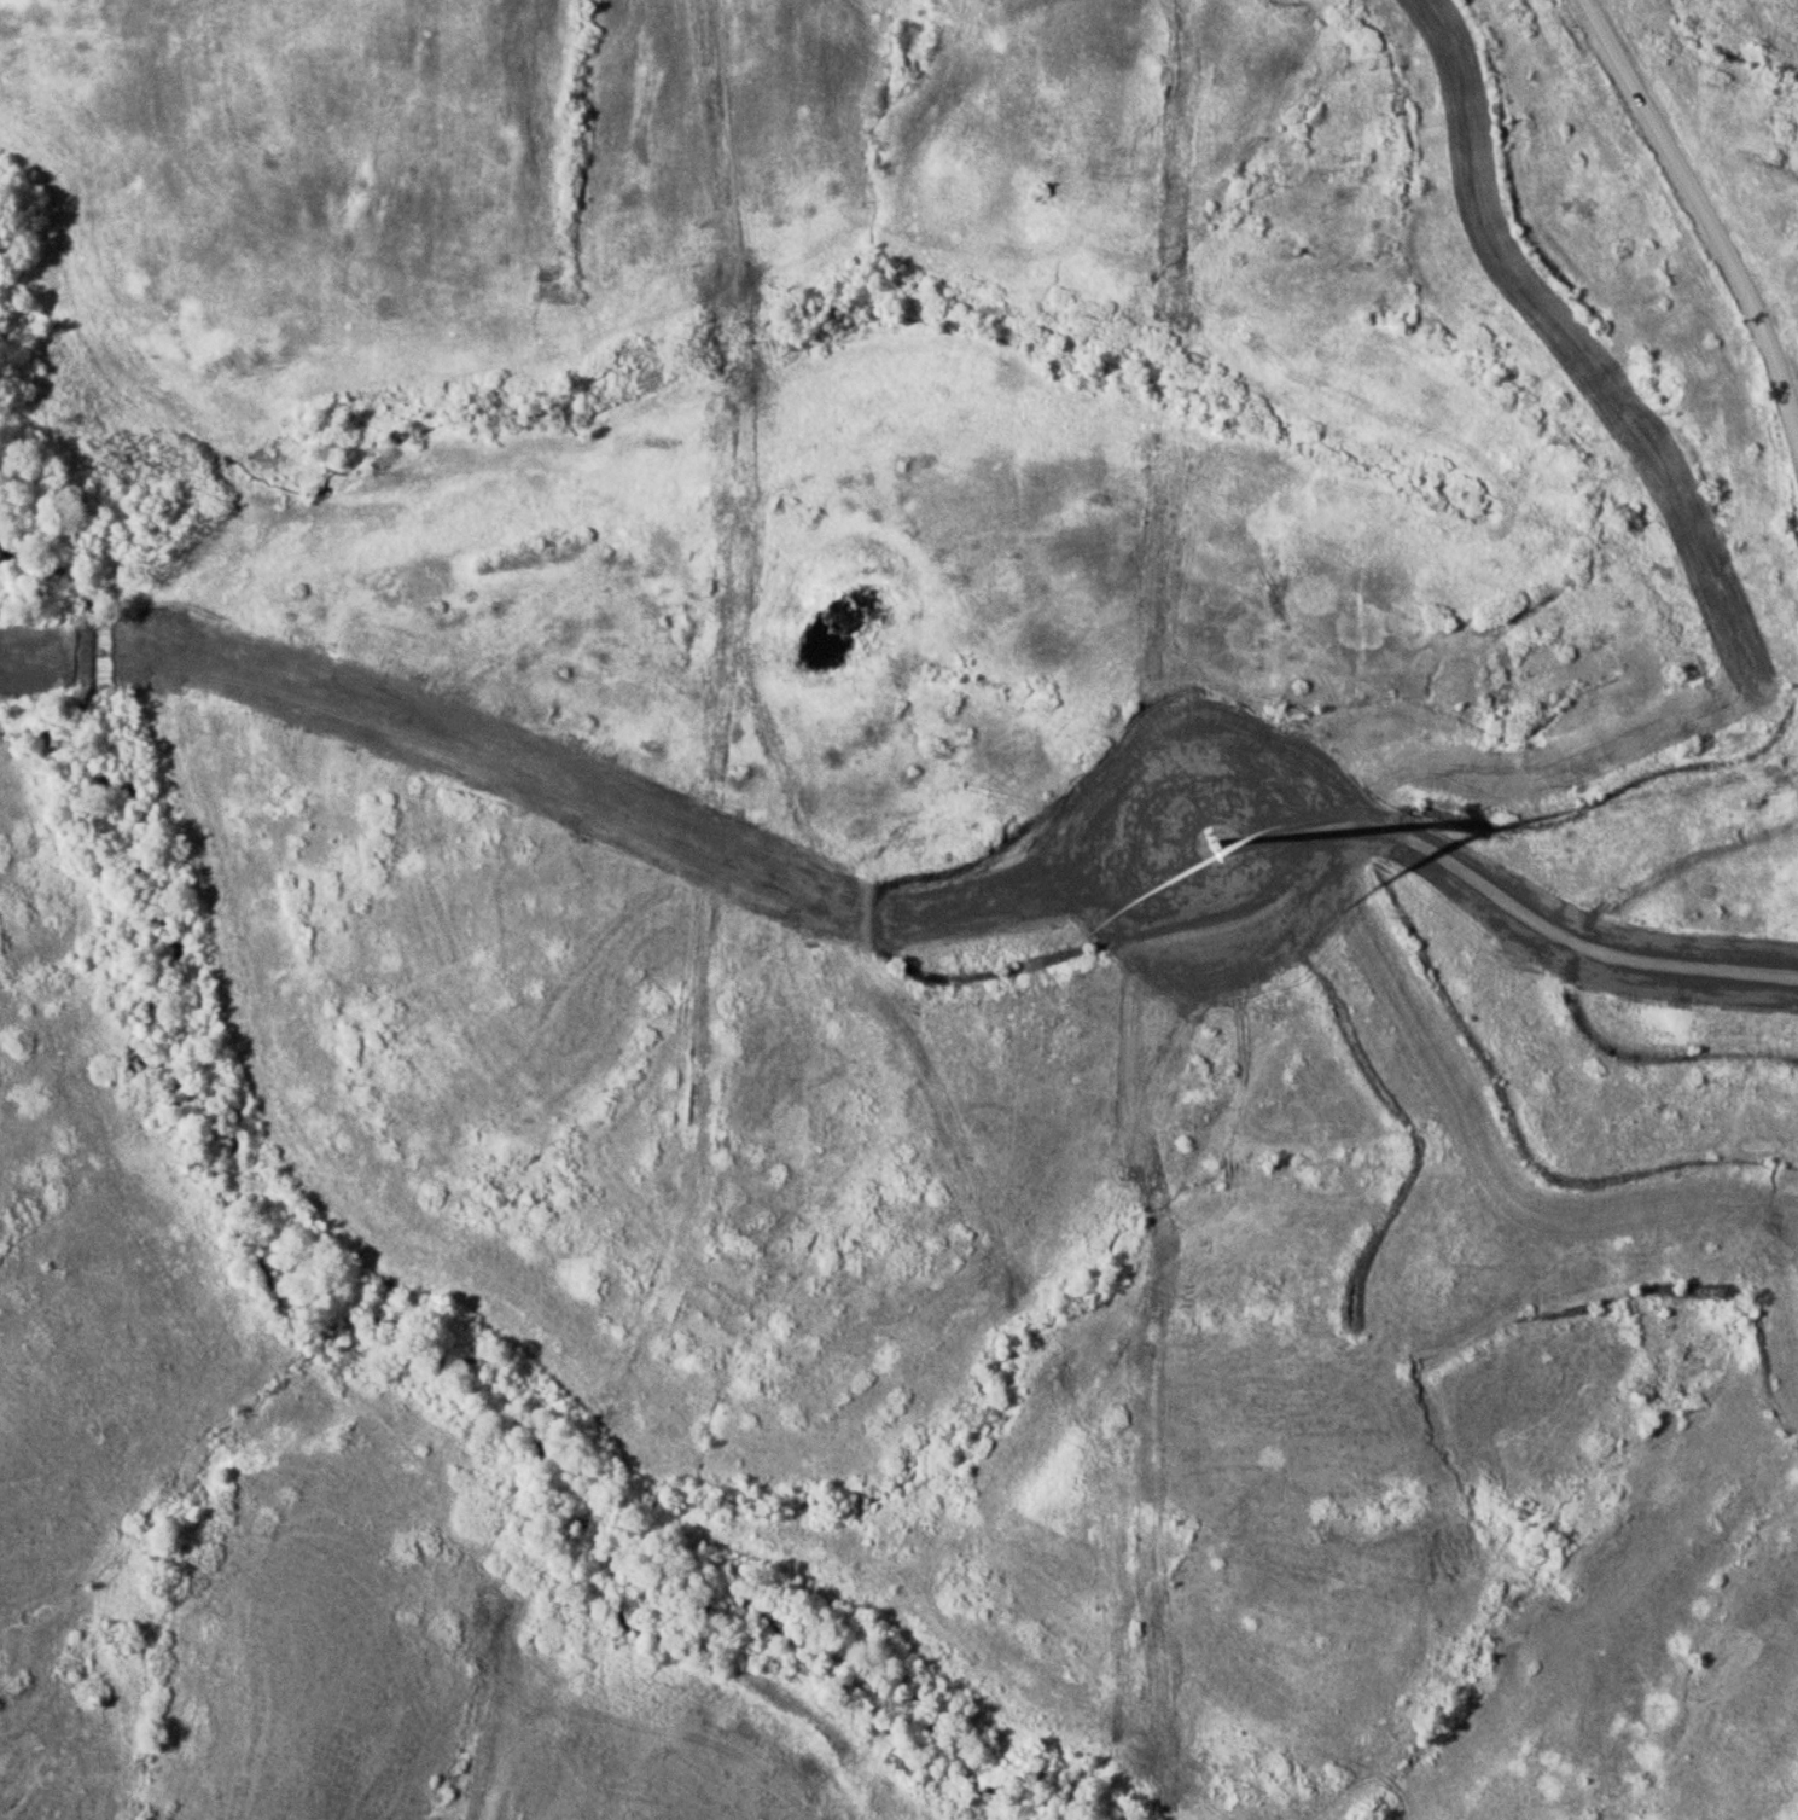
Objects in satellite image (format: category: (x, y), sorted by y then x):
road: (1704, 216)
wind turbine: (1227, 838)

